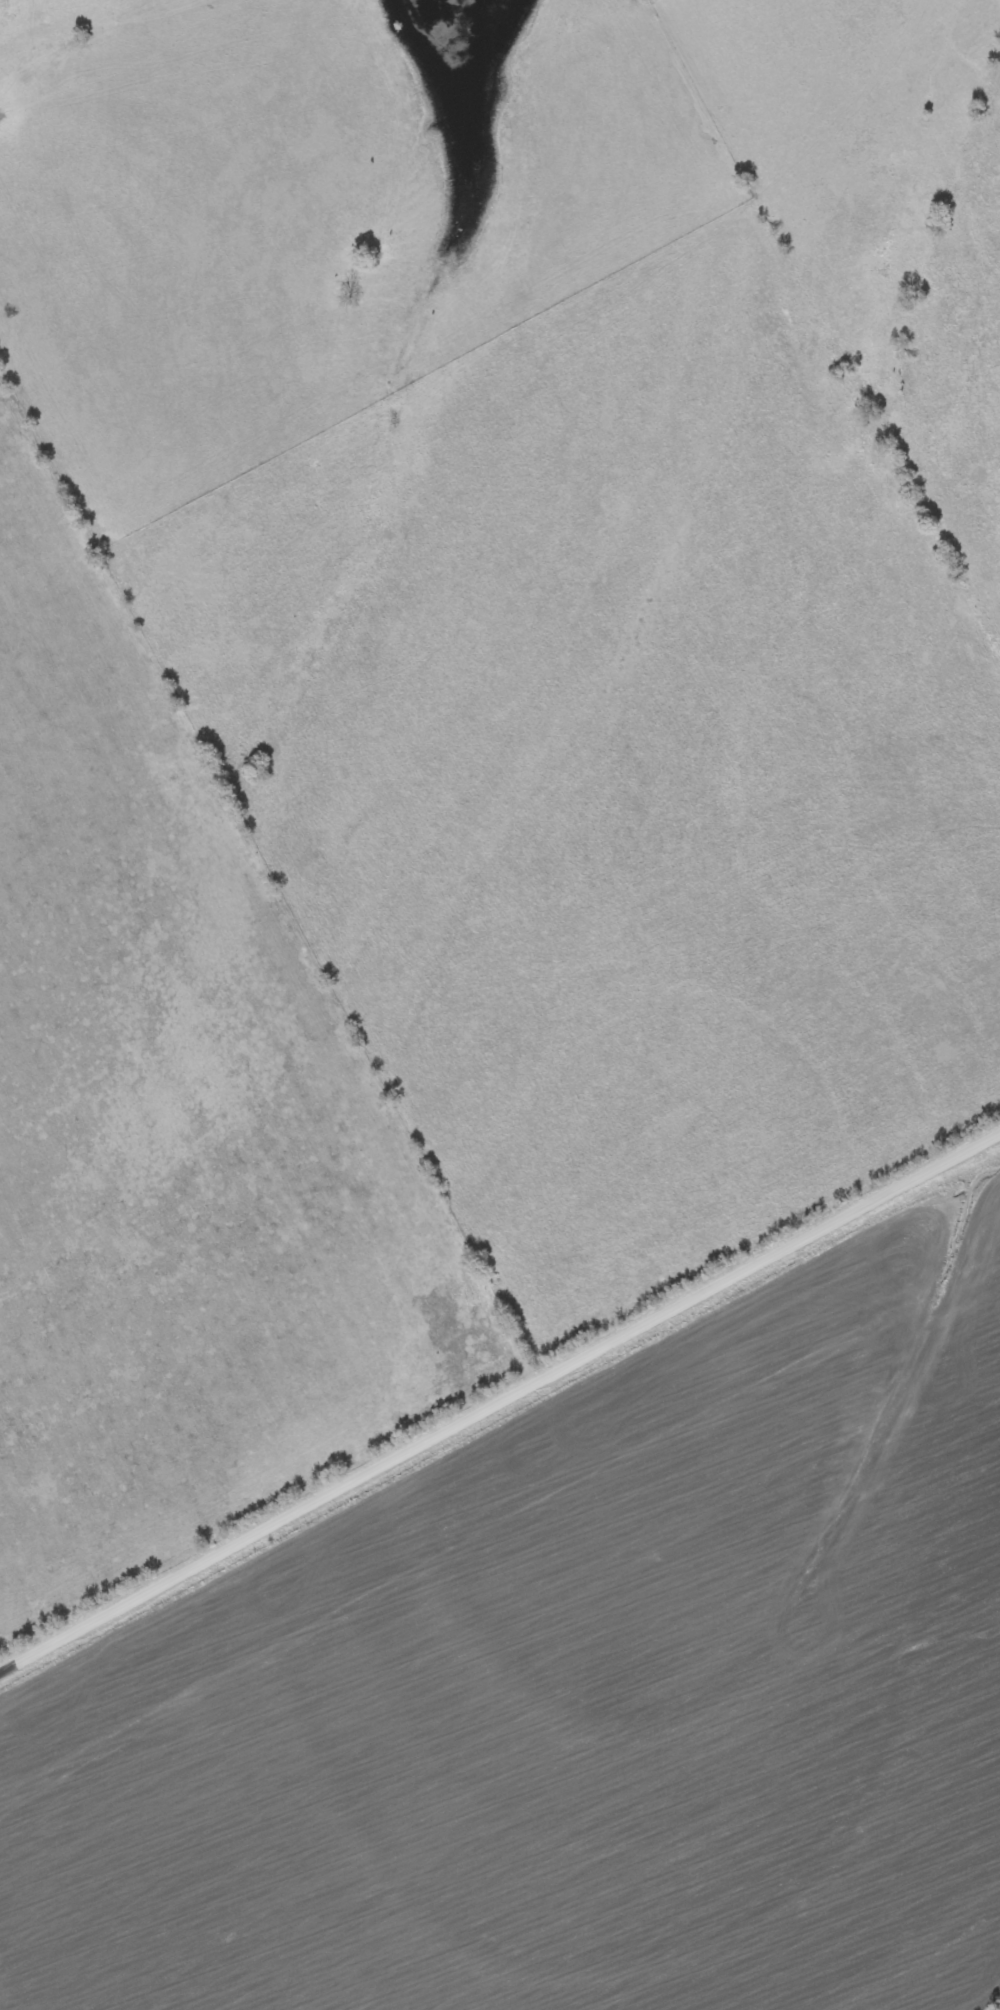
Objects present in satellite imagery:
road: (500, 1413)

